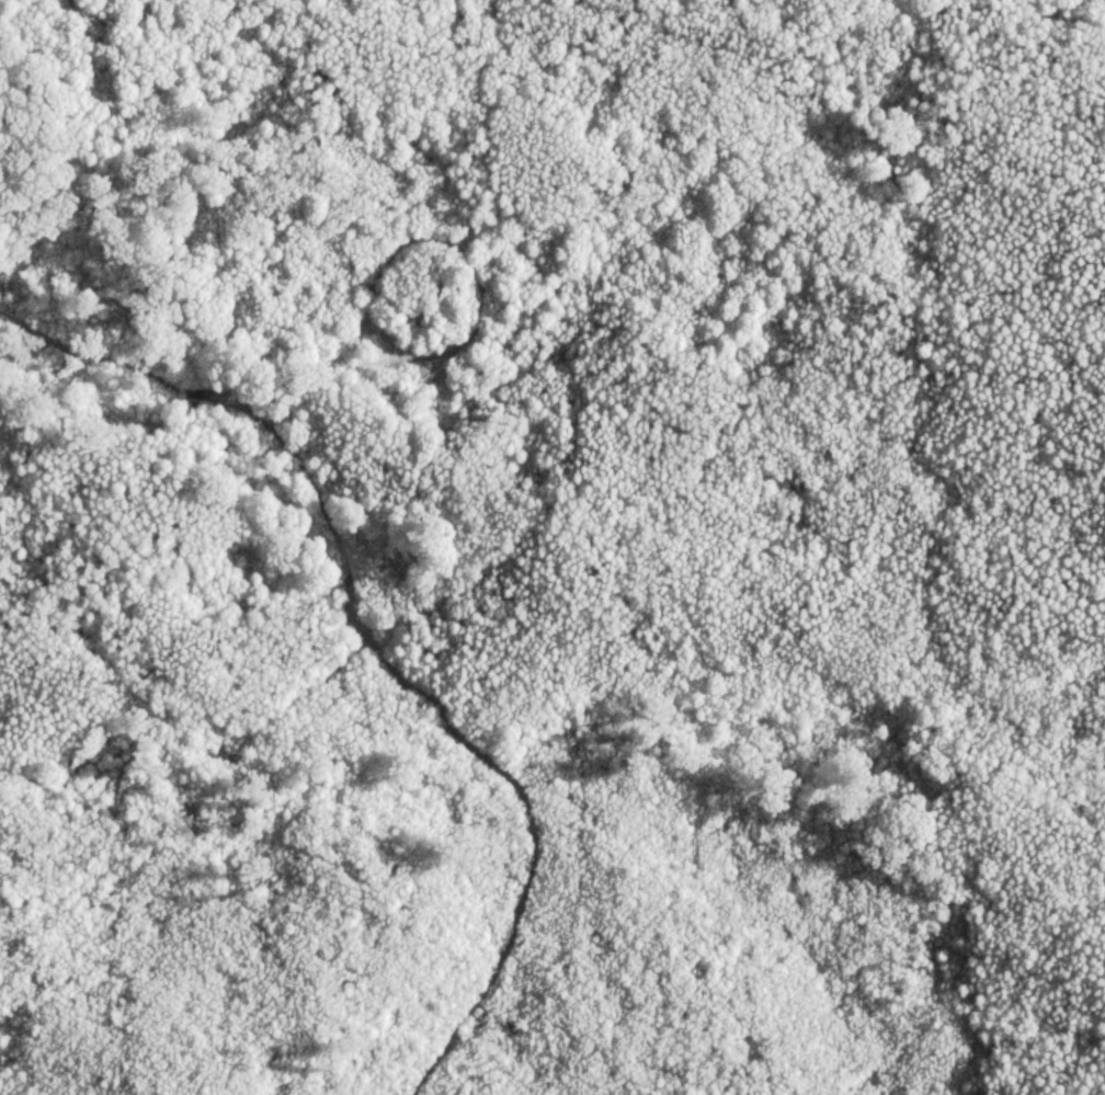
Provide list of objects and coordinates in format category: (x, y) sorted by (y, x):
road: (376, 647)

